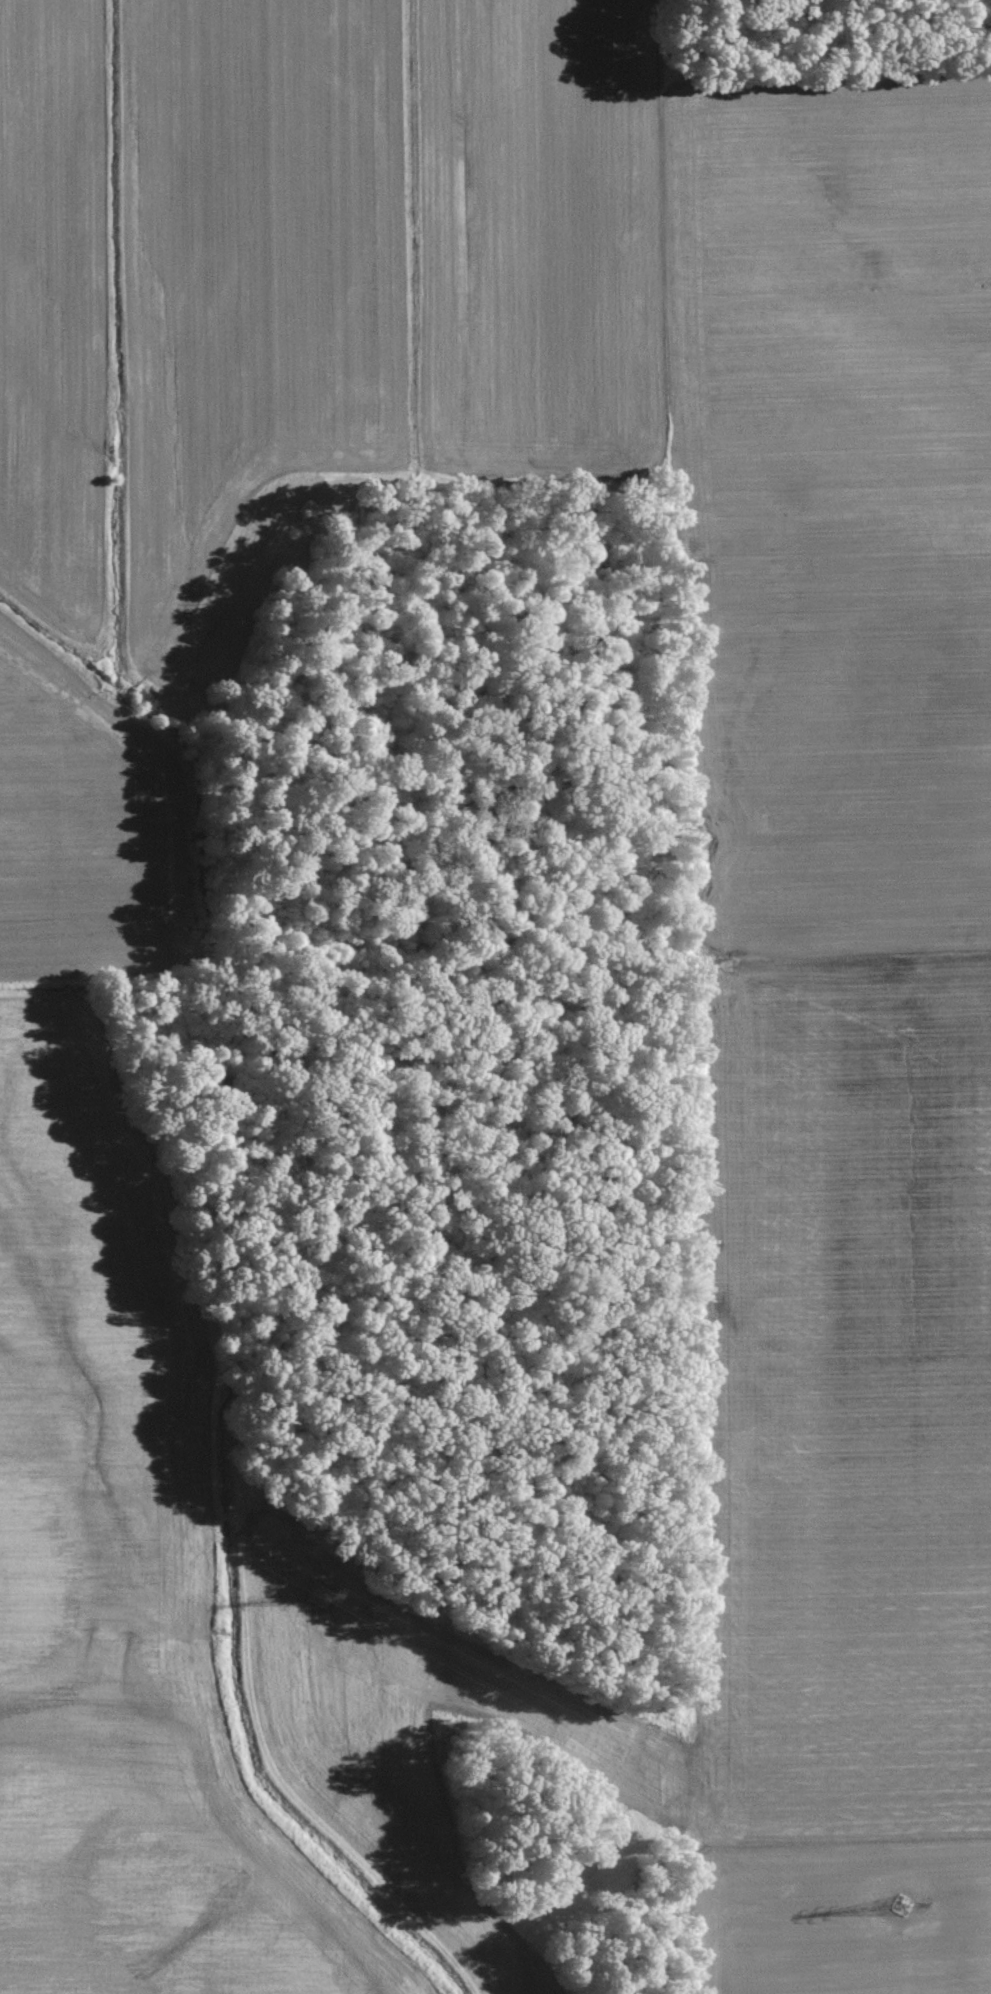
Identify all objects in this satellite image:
power tower: (309, 1615)
power tower: (887, 1917)

